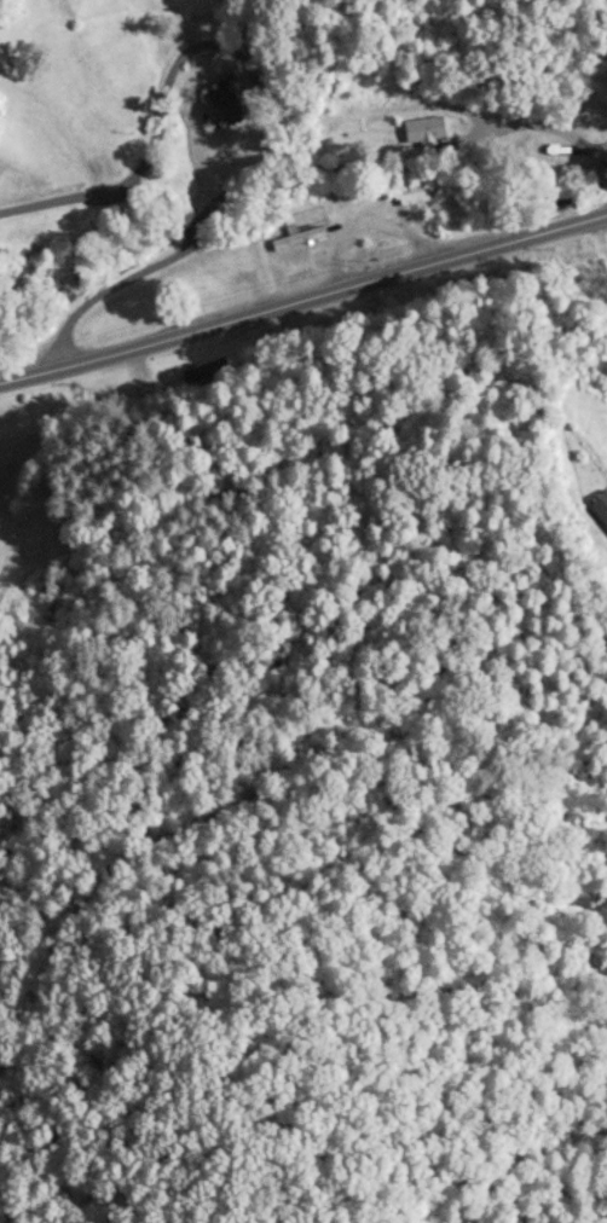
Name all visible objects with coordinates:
road: (486, 109)
building: (328, 123)
building: (212, 128)
building: (422, 133)
building: (544, 155)
road: (606, 155)
building: (202, 169)
building: (410, 193)
road: (603, 222)
road: (565, 224)
building: (295, 238)
building: (189, 276)
road: (261, 309)
building: (600, 508)

